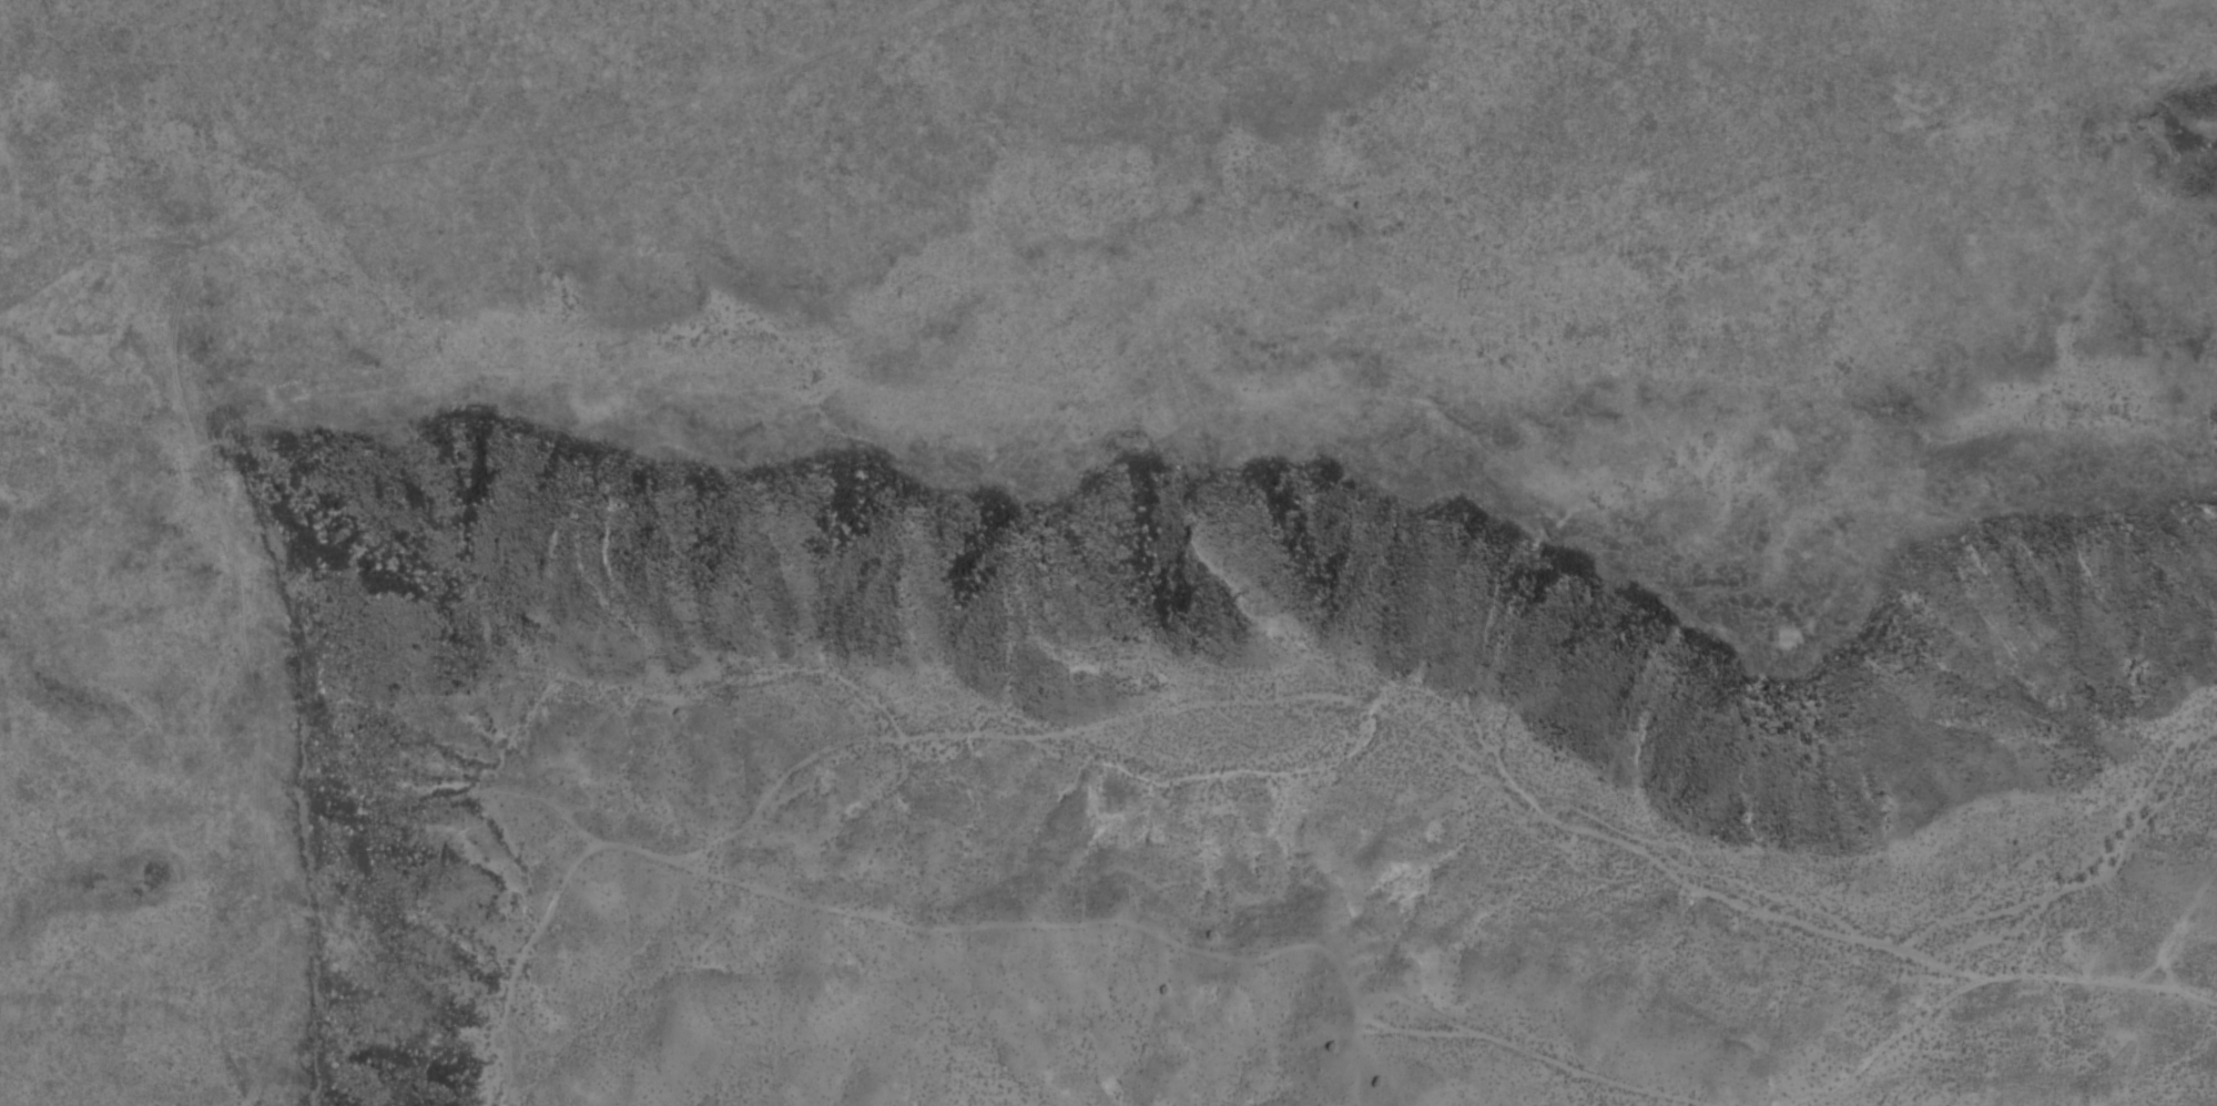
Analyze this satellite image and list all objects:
road: (185, 297)

